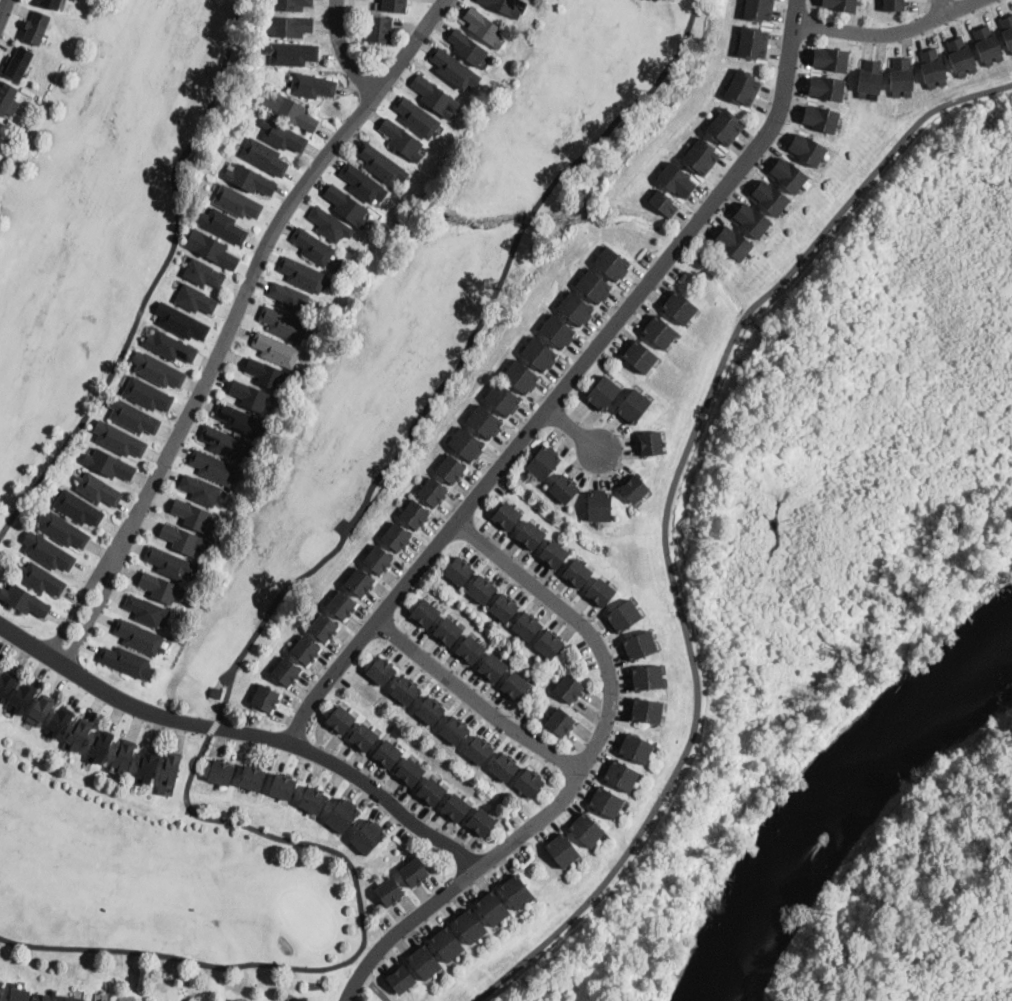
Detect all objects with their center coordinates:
building: (895, 0)
building: (51, 3)
building: (291, 4)
building: (395, 6)
building: (504, 6)
building: (841, 6)
building: (895, 6)
road: (944, 8)
road: (4, 9)
building: (758, 9)
building: (1009, 19)
building: (36, 27)
building: (290, 27)
building: (484, 27)
building: (379, 29)
building: (1006, 31)
road: (892, 33)
building: (991, 42)
building: (754, 43)
building: (981, 46)
building: (468, 48)
road: (345, 52)
building: (291, 53)
building: (965, 53)
building: (955, 58)
building: (831, 59)
building: (18, 63)
building: (937, 66)
building: (451, 67)
building: (926, 69)
building: (895, 76)
building: (906, 77)
building: (864, 78)
building: (875, 80)
building: (312, 85)
building: (826, 88)
building: (743, 89)
building: (6, 96)
building: (436, 96)
road: (623, 110)
building: (292, 111)
building: (416, 117)
building: (820, 118)
building: (725, 128)
building: (282, 135)
building: (402, 139)
building: (807, 149)
building: (264, 155)
building: (702, 157)
building: (382, 164)
building: (788, 175)
building: (250, 179)
building: (677, 181)
building: (360, 182)
building: (771, 198)
park: (102, 201)
building: (237, 202)
building: (664, 204)
building: (347, 205)
road: (526, 218)
building: (752, 220)
building: (328, 224)
building: (224, 226)
building: (734, 243)
building: (312, 246)
building: (214, 250)
parking lot: (646, 259)
building: (612, 263)
building: (203, 272)
parking lot: (673, 272)
building: (302, 274)
road: (155, 278)
road: (254, 278)
building: (594, 286)
building: (289, 297)
building: (195, 299)
building: (680, 307)
building: (576, 308)
building: (183, 323)
building: (284, 324)
building: (557, 331)
building: (659, 332)
building: (170, 346)
building: (276, 349)
building: (539, 353)
building: (639, 356)
parking lot: (604, 358)
building: (158, 370)
building: (268, 373)
building: (521, 376)
road: (571, 382)
building: (603, 393)
building: (147, 394)
building: (249, 395)
building: (502, 398)
building: (633, 406)
building: (133, 416)
building: (239, 420)
building: (485, 421)
building: (611, 421)
road: (576, 430)
building: (119, 439)
building: (224, 443)
building: (466, 443)
building: (650, 443)
building: (543, 463)
building: (109, 464)
building: (214, 467)
building: (451, 469)
building: (634, 488)
building: (98, 489)
building: (564, 489)
building: (201, 490)
building: (433, 491)
building: (599, 506)
building: (78, 508)
road: (667, 512)
building: (192, 514)
building: (414, 514)
building: (507, 515)
park: (815, 517)
building: (62, 529)
building: (530, 534)
building: (397, 536)
park: (329, 537)
building: (180, 538)
building: (48, 551)
building: (554, 554)
building: (378, 559)
building: (169, 562)
building: (459, 571)
building: (577, 573)
building: (41, 578)
building: (360, 582)
building: (160, 587)
building: (481, 589)
building: (600, 592)
building: (24, 600)
building: (342, 604)
building: (503, 607)
road: (74, 609)
building: (147, 610)
building: (425, 613)
building: (623, 616)
road: (86, 624)
building: (526, 625)
building: (323, 627)
building: (448, 631)
building: (140, 637)
building: (549, 644)
building: (639, 646)
building: (305, 649)
building: (470, 649)
building: (125, 660)
building: (0, 665)
building: (492, 667)
building: (286, 671)
building: (381, 671)
building: (647, 677)
parking lot: (341, 684)
building: (6, 685)
building: (515, 686)
building: (569, 688)
road: (612, 689)
building: (405, 690)
building: (217, 693)
building: (265, 697)
building: (22, 698)
road: (475, 701)
building: (41, 710)
building: (429, 710)
building: (646, 710)
parking lot: (250, 719)
building: (341, 719)
building: (59, 721)
building: (560, 722)
building: (454, 730)
road: (245, 732)
building: (78, 735)
building: (363, 736)
building: (99, 747)
building: (635, 748)
building: (479, 750)
building: (388, 753)
building: (124, 756)
building: (146, 767)
building: (503, 767)
building: (170, 769)
building: (410, 771)
building: (221, 772)
building: (621, 775)
building: (252, 778)
road: (188, 781)
building: (529, 782)
building: (588, 784)
building: (283, 786)
building: (431, 791)
building: (313, 800)
building: (606, 802)
building: (456, 807)
river: (848, 810)
building: (342, 815)
building: (481, 821)
building: (586, 829)
parking lot: (401, 832)
building: (368, 836)
parking lot: (518, 849)
building: (562, 851)
building: (414, 872)
building: (389, 891)
building: (516, 891)
building: (493, 908)
parking lot: (383, 922)
building: (470, 926)
road: (406, 928)
building: (447, 944)
building: (424, 962)
building: (401, 979)
building: (1, 984)
road: (377, 986)
building: (19, 993)
building: (47, 996)
building: (73, 998)
building: (93, 1000)
building: (105, 1000)
building: (306, 1000)

